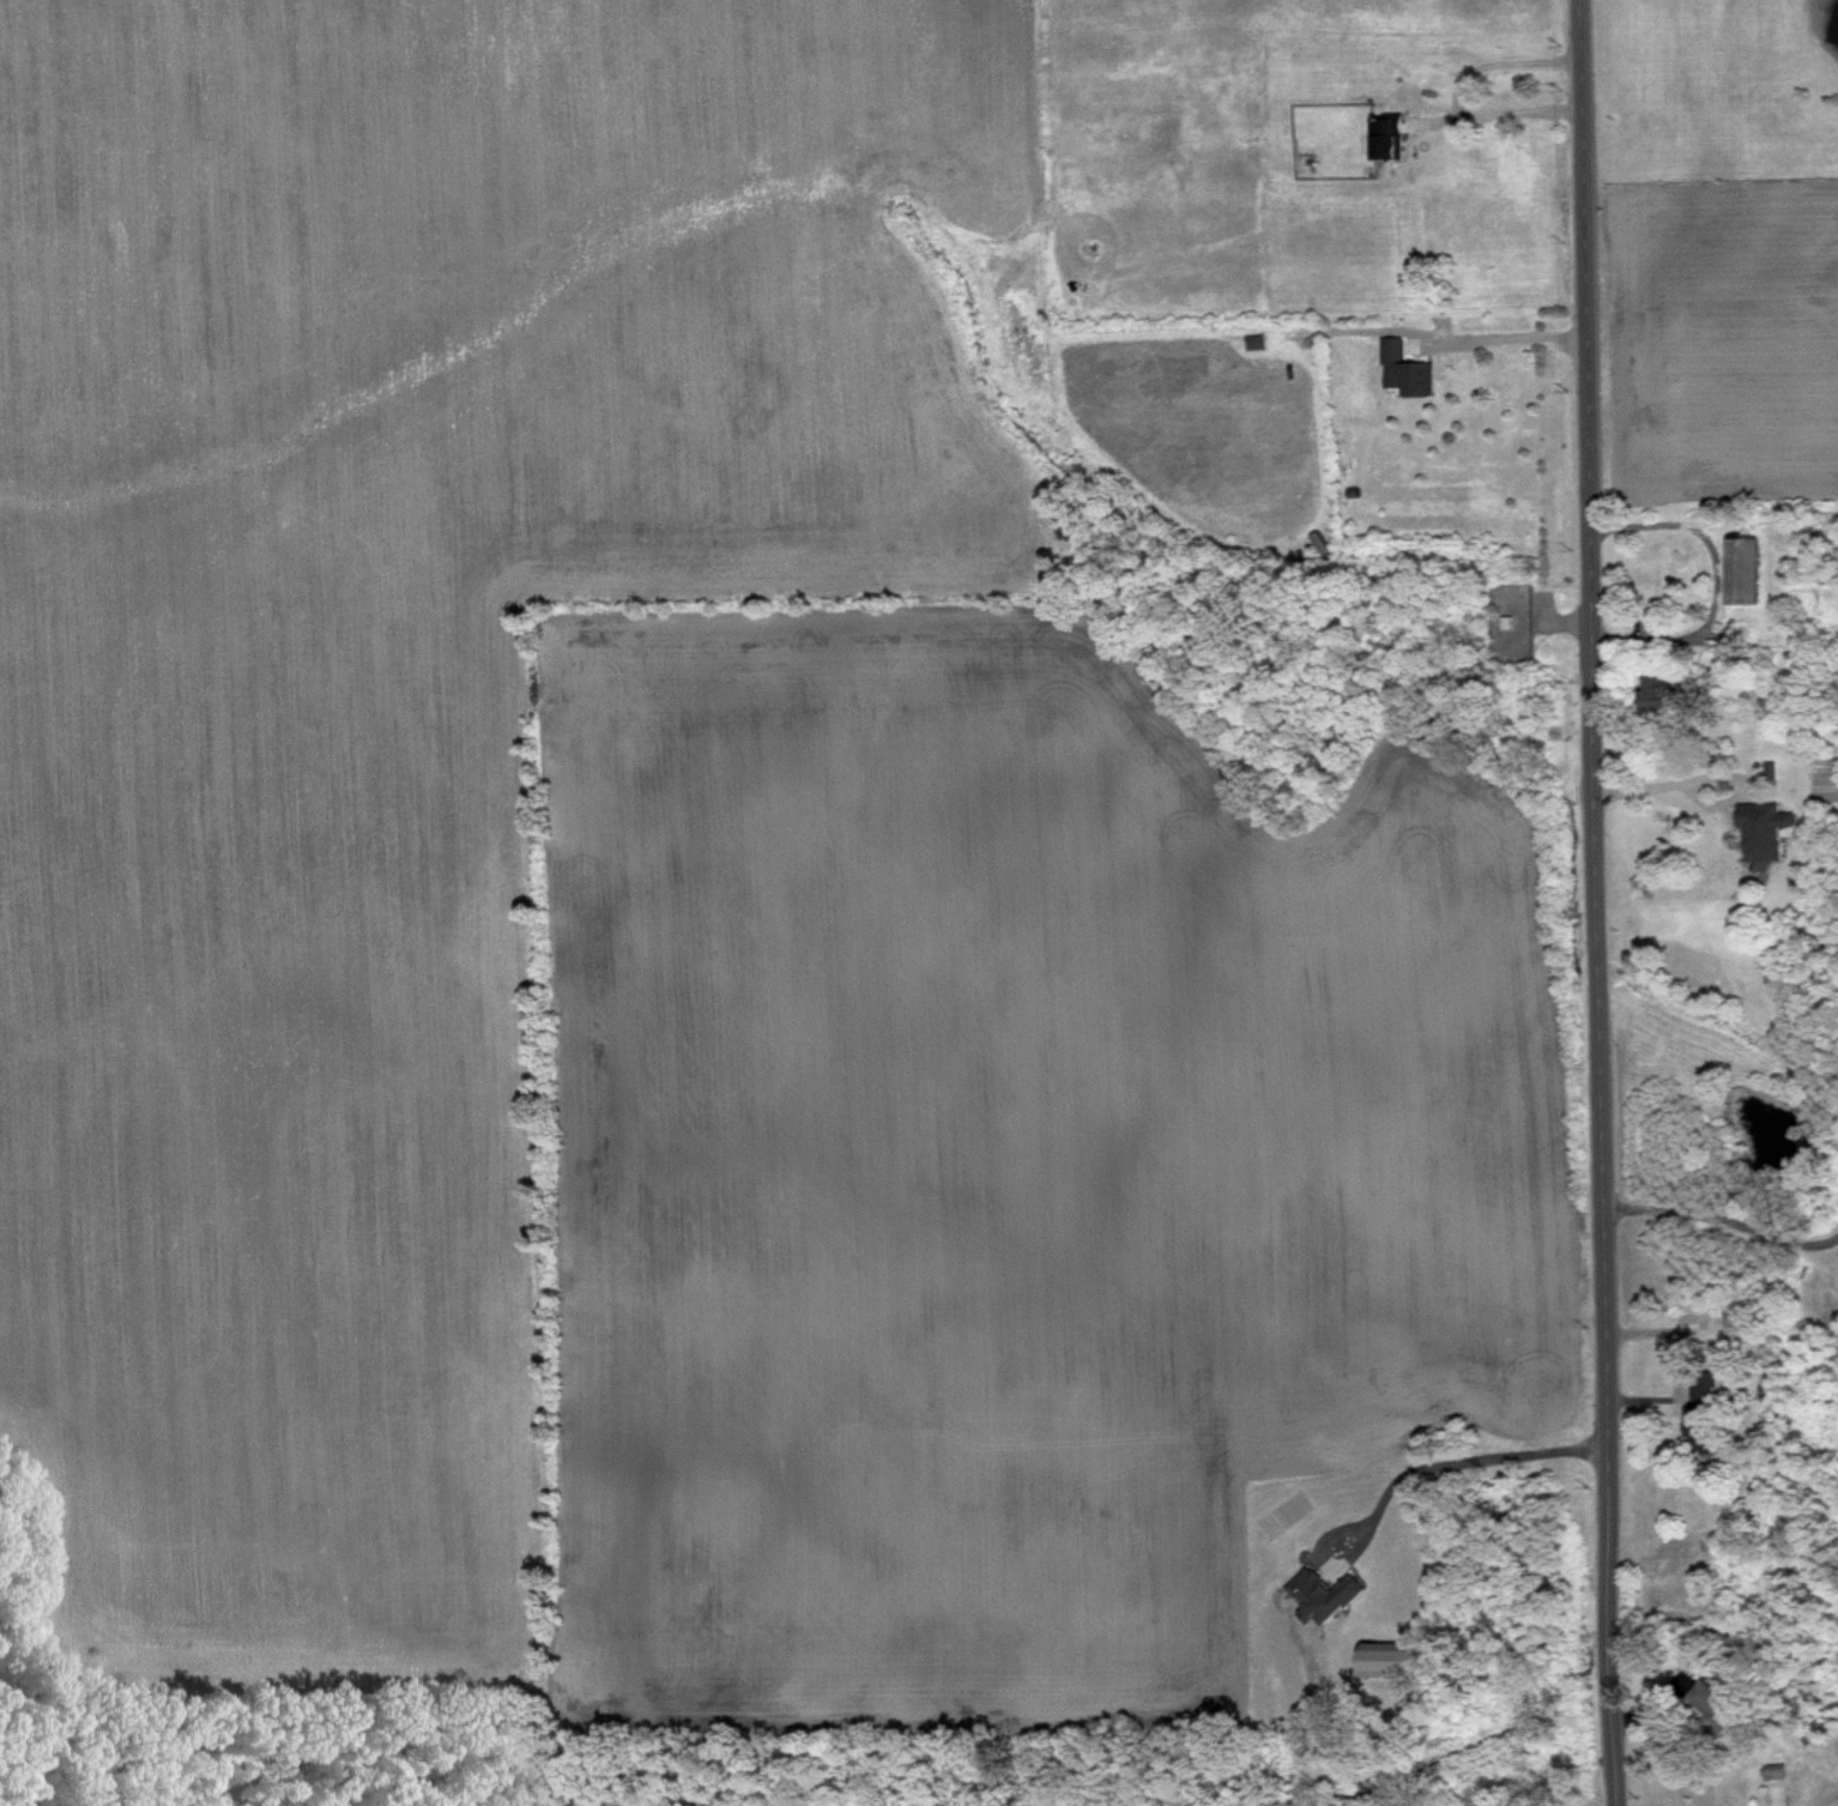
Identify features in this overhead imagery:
park: (1705, 89)
road: (1458, 92)
building: (1385, 137)
road: (1510, 337)
building: (1402, 369)
building: (1800, 543)
building: (1740, 570)
road: (1718, 584)
road: (1669, 783)
building: (1761, 827)
road: (1597, 902)
road: (1722, 1220)
road: (1470, 1457)
road: (1322, 1552)
building: (1318, 1593)
building: (1380, 1659)
road: (1832, 1801)

